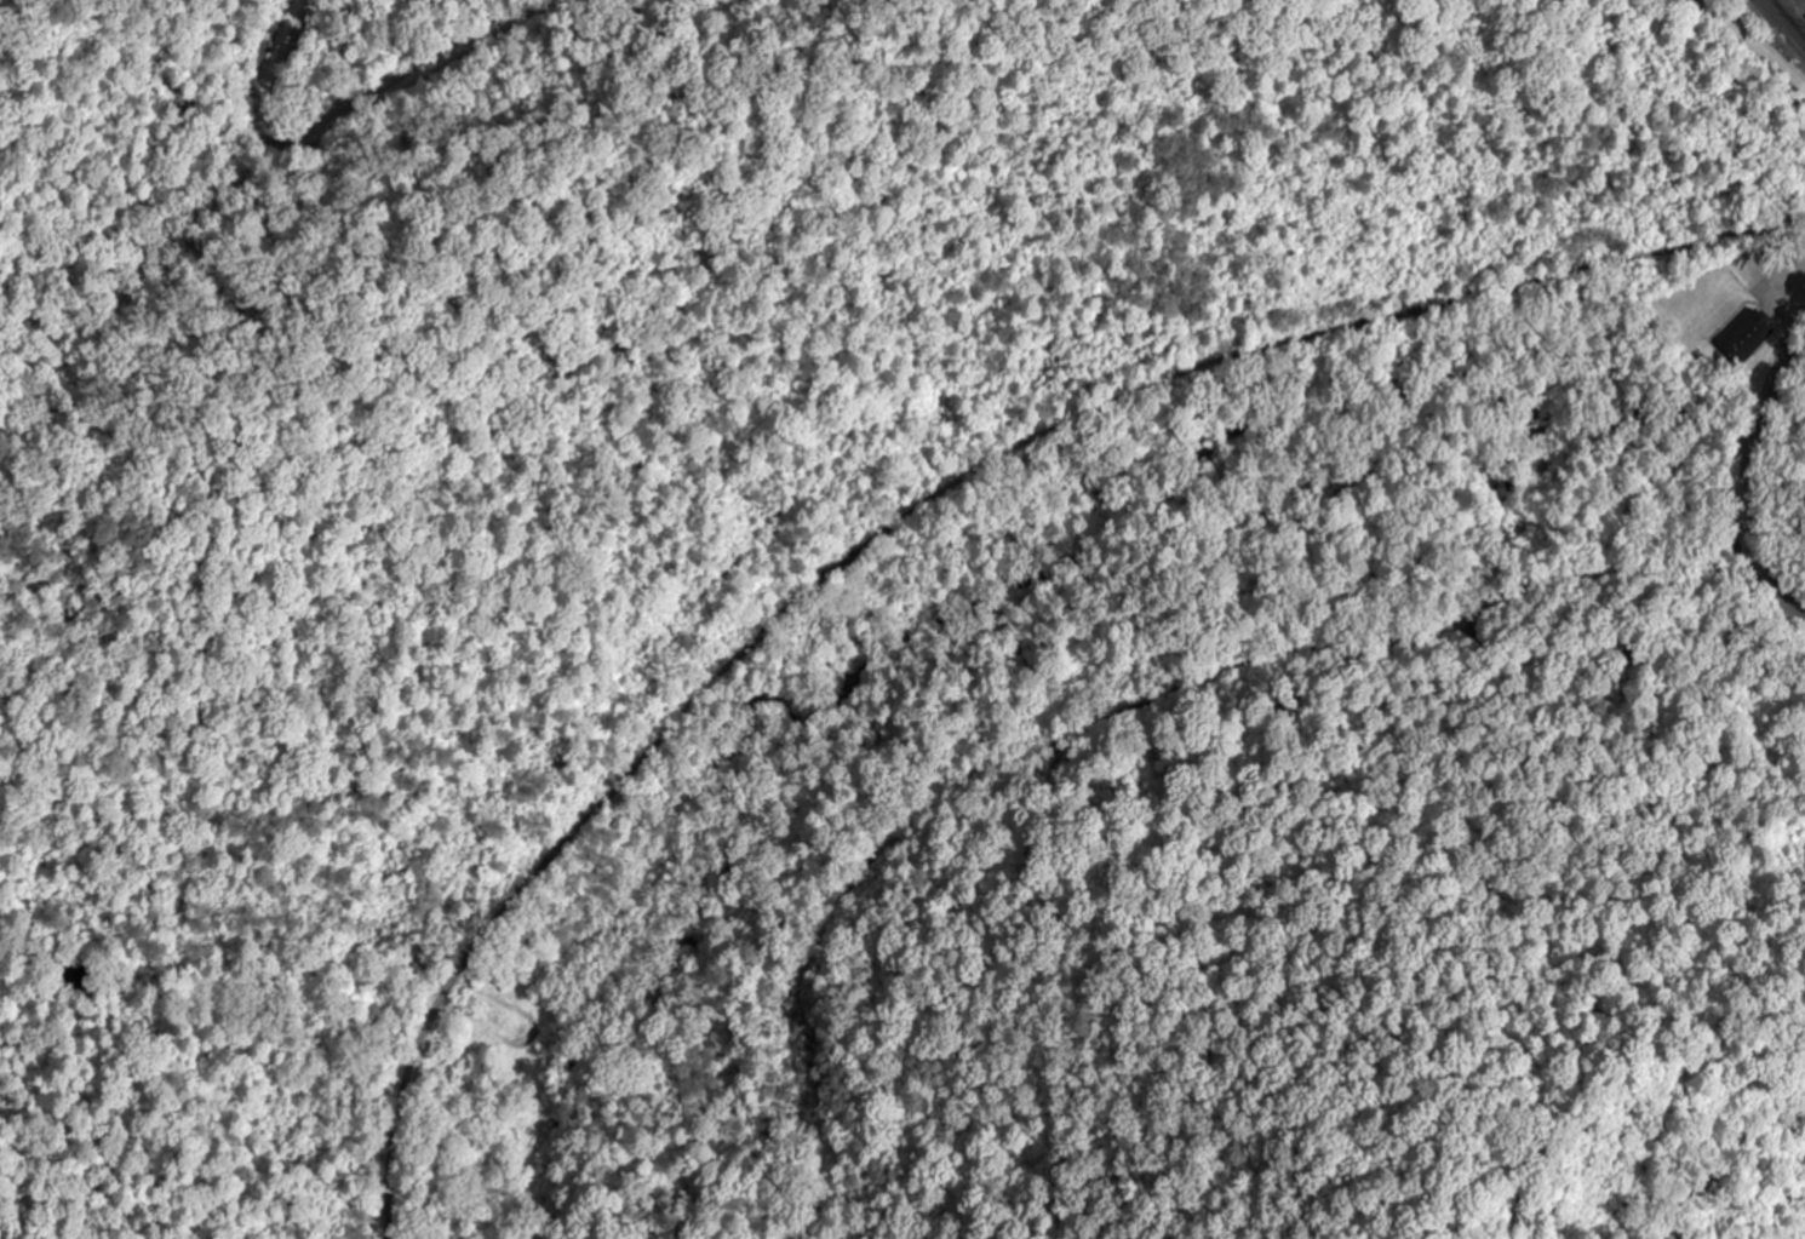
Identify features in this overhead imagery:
railway: (1789, 17)
road: (1757, 42)
road: (331, 117)
building: (1744, 337)
road: (1771, 397)
road: (774, 493)
road: (1748, 506)
road: (1769, 586)
road: (1093, 712)

